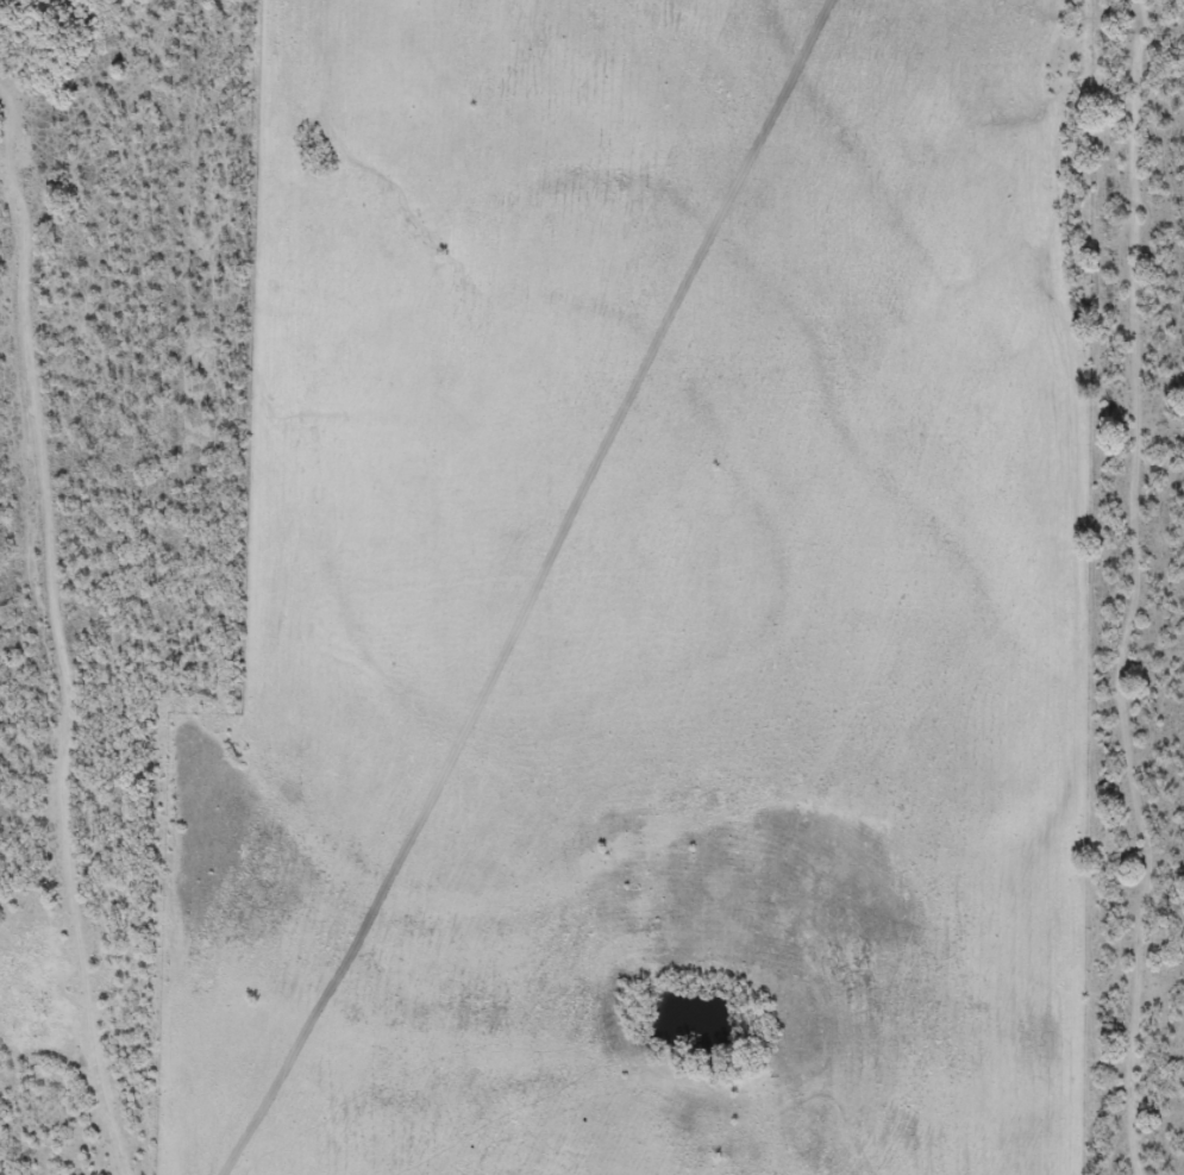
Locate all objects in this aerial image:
road: (56, 698)

